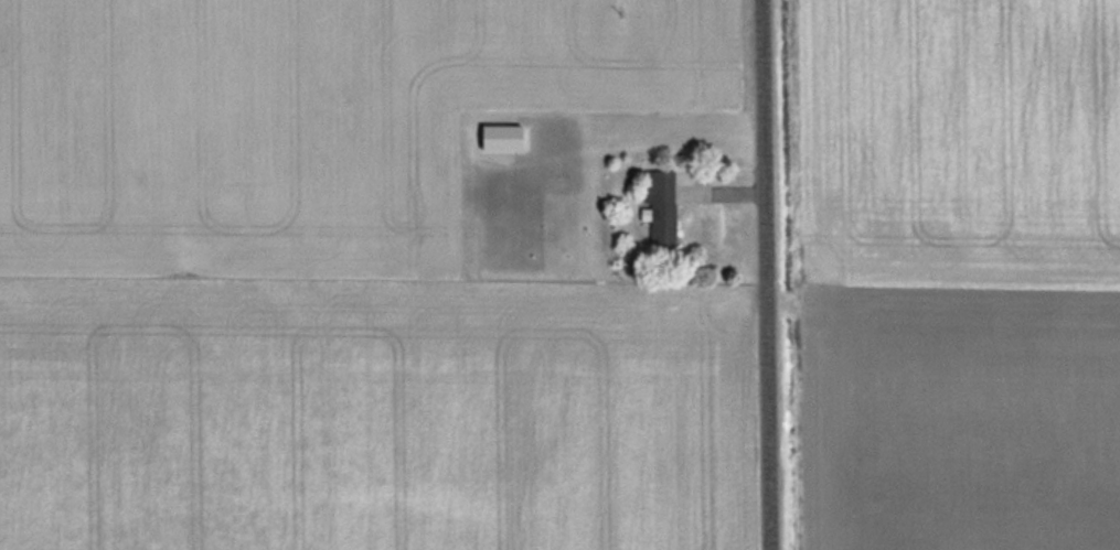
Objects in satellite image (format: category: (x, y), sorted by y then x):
building: (660, 208)
road: (767, 274)

